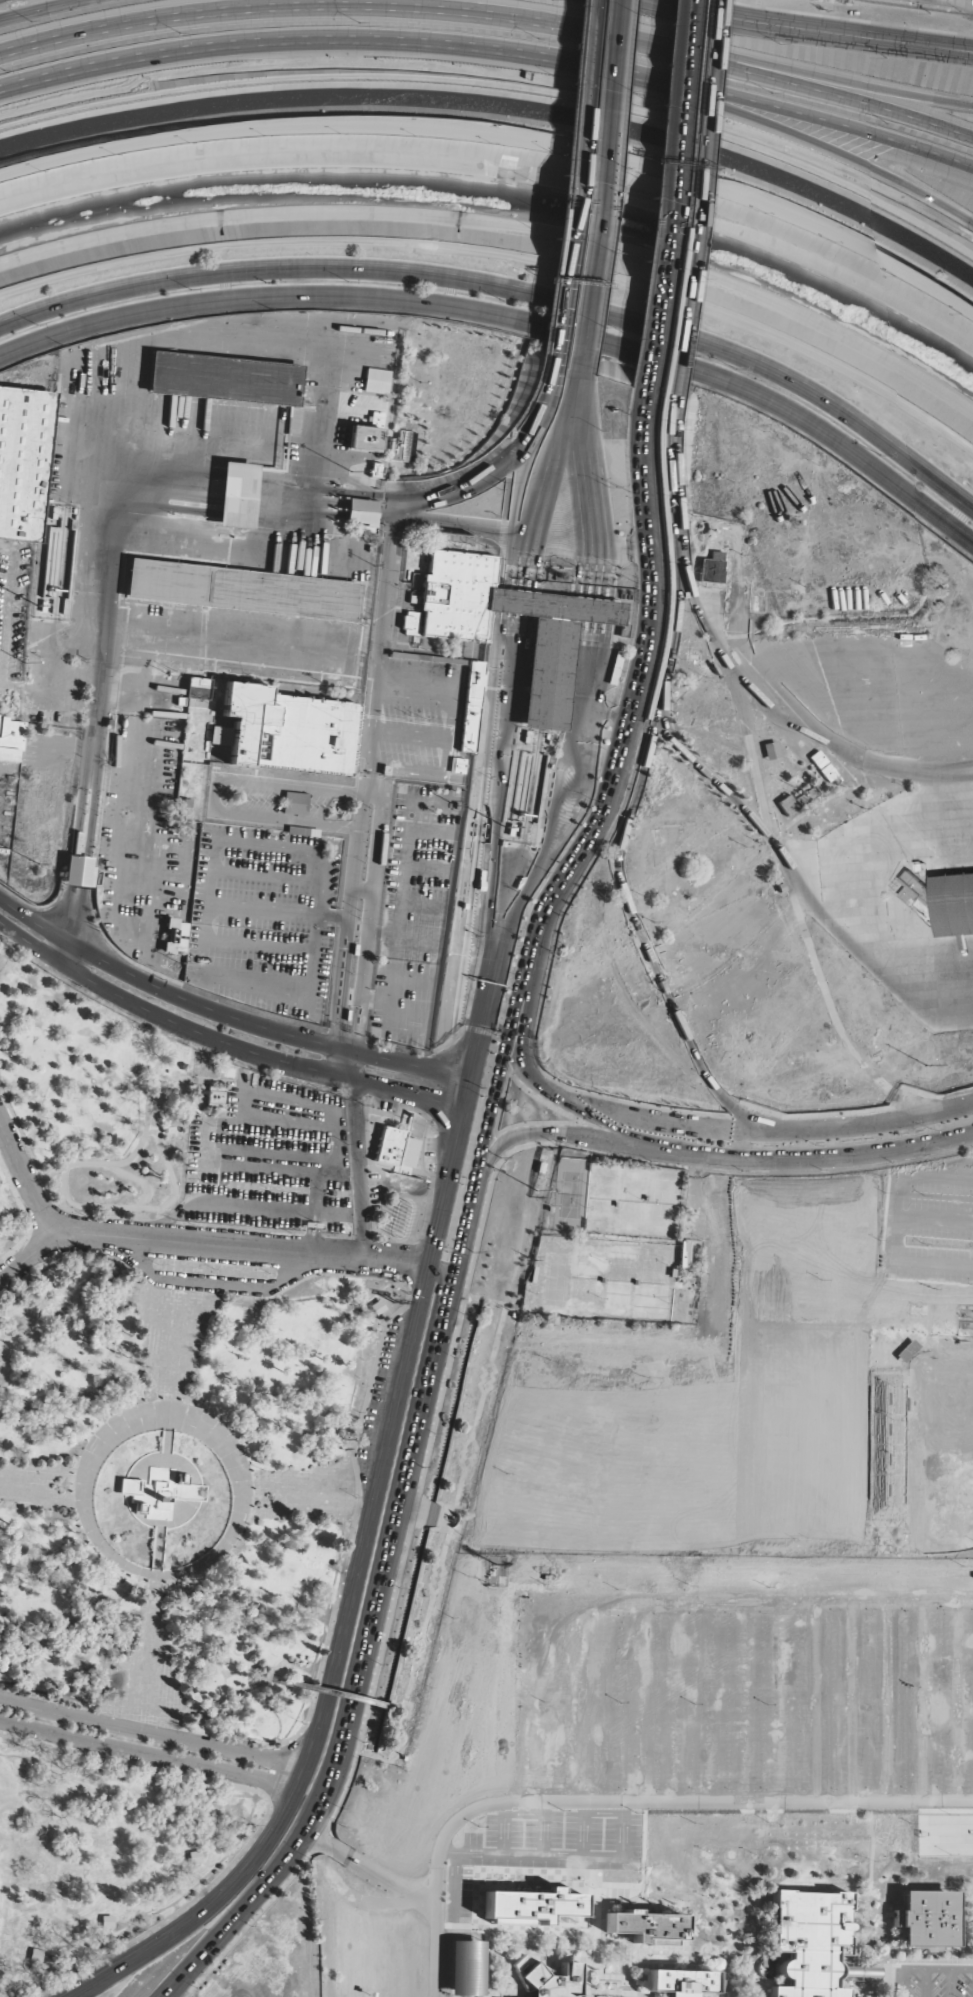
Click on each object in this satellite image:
road: (656, 1)
road: (662, 1)
road: (42, 9)
road: (491, 14)
road: (820, 29)
road: (491, 48)
road: (833, 78)
road: (606, 110)
road: (674, 118)
road: (779, 126)
road: (562, 185)
road: (575, 187)
river: (502, 201)
road: (683, 201)
road: (696, 203)
road: (504, 251)
road: (510, 289)
road: (588, 296)
road: (511, 315)
road: (654, 318)
building: (225, 378)
building: (376, 380)
building: (293, 420)
building: (365, 437)
building: (402, 447)
building: (22, 456)
road: (508, 475)
road: (237, 490)
road: (434, 493)
building: (236, 494)
building: (361, 511)
road: (448, 527)
road: (622, 549)
building: (177, 583)
building: (456, 595)
building: (332, 600)
parking lot: (234, 644)
road: (97, 682)
road: (585, 683)
road: (503, 685)
parking lot: (9, 688)
road: (730, 699)
building: (472, 705)
building: (275, 727)
building: (10, 739)
road: (832, 742)
building: (771, 750)
road: (478, 773)
road: (609, 788)
building: (295, 803)
road: (121, 809)
road: (599, 842)
parking lot: (410, 849)
building: (79, 872)
road: (799, 885)
road: (614, 894)
building: (955, 906)
parking lot: (258, 919)
building: (175, 937)
track: (153, 1104)
track: (160, 1135)
parking lot: (283, 1161)
road: (801, 1165)
track: (175, 1186)
track: (105, 1188)
road: (21, 1190)
park: (401, 1207)
parking lot: (928, 1218)
park: (606, 1235)
park: (810, 1236)
parking lot: (708, 1249)
park: (797, 1427)
park: (937, 1444)
park: (622, 1469)
park: (195, 1534)
parking lot: (729, 1710)
parking lot: (932, 1982)

